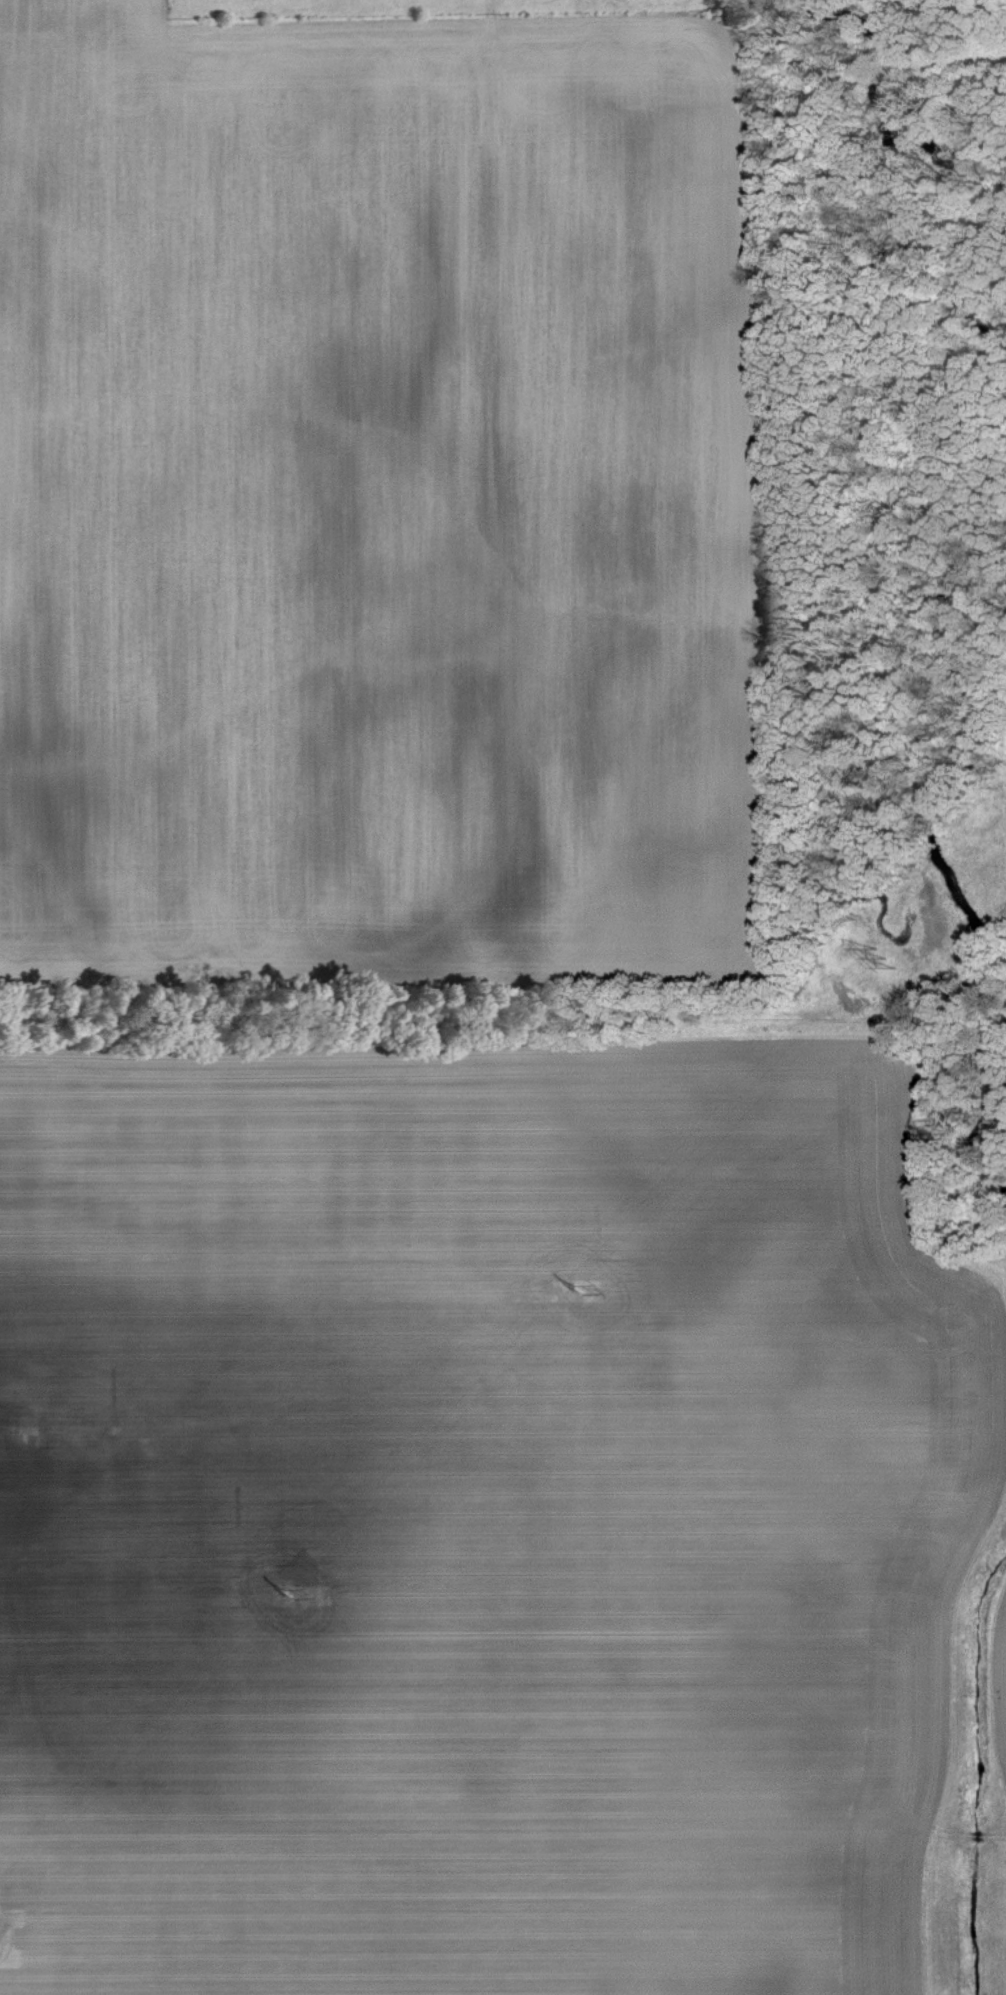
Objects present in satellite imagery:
power tower: (888, 956)
power tower: (577, 1289)
power tower: (286, 1595)

